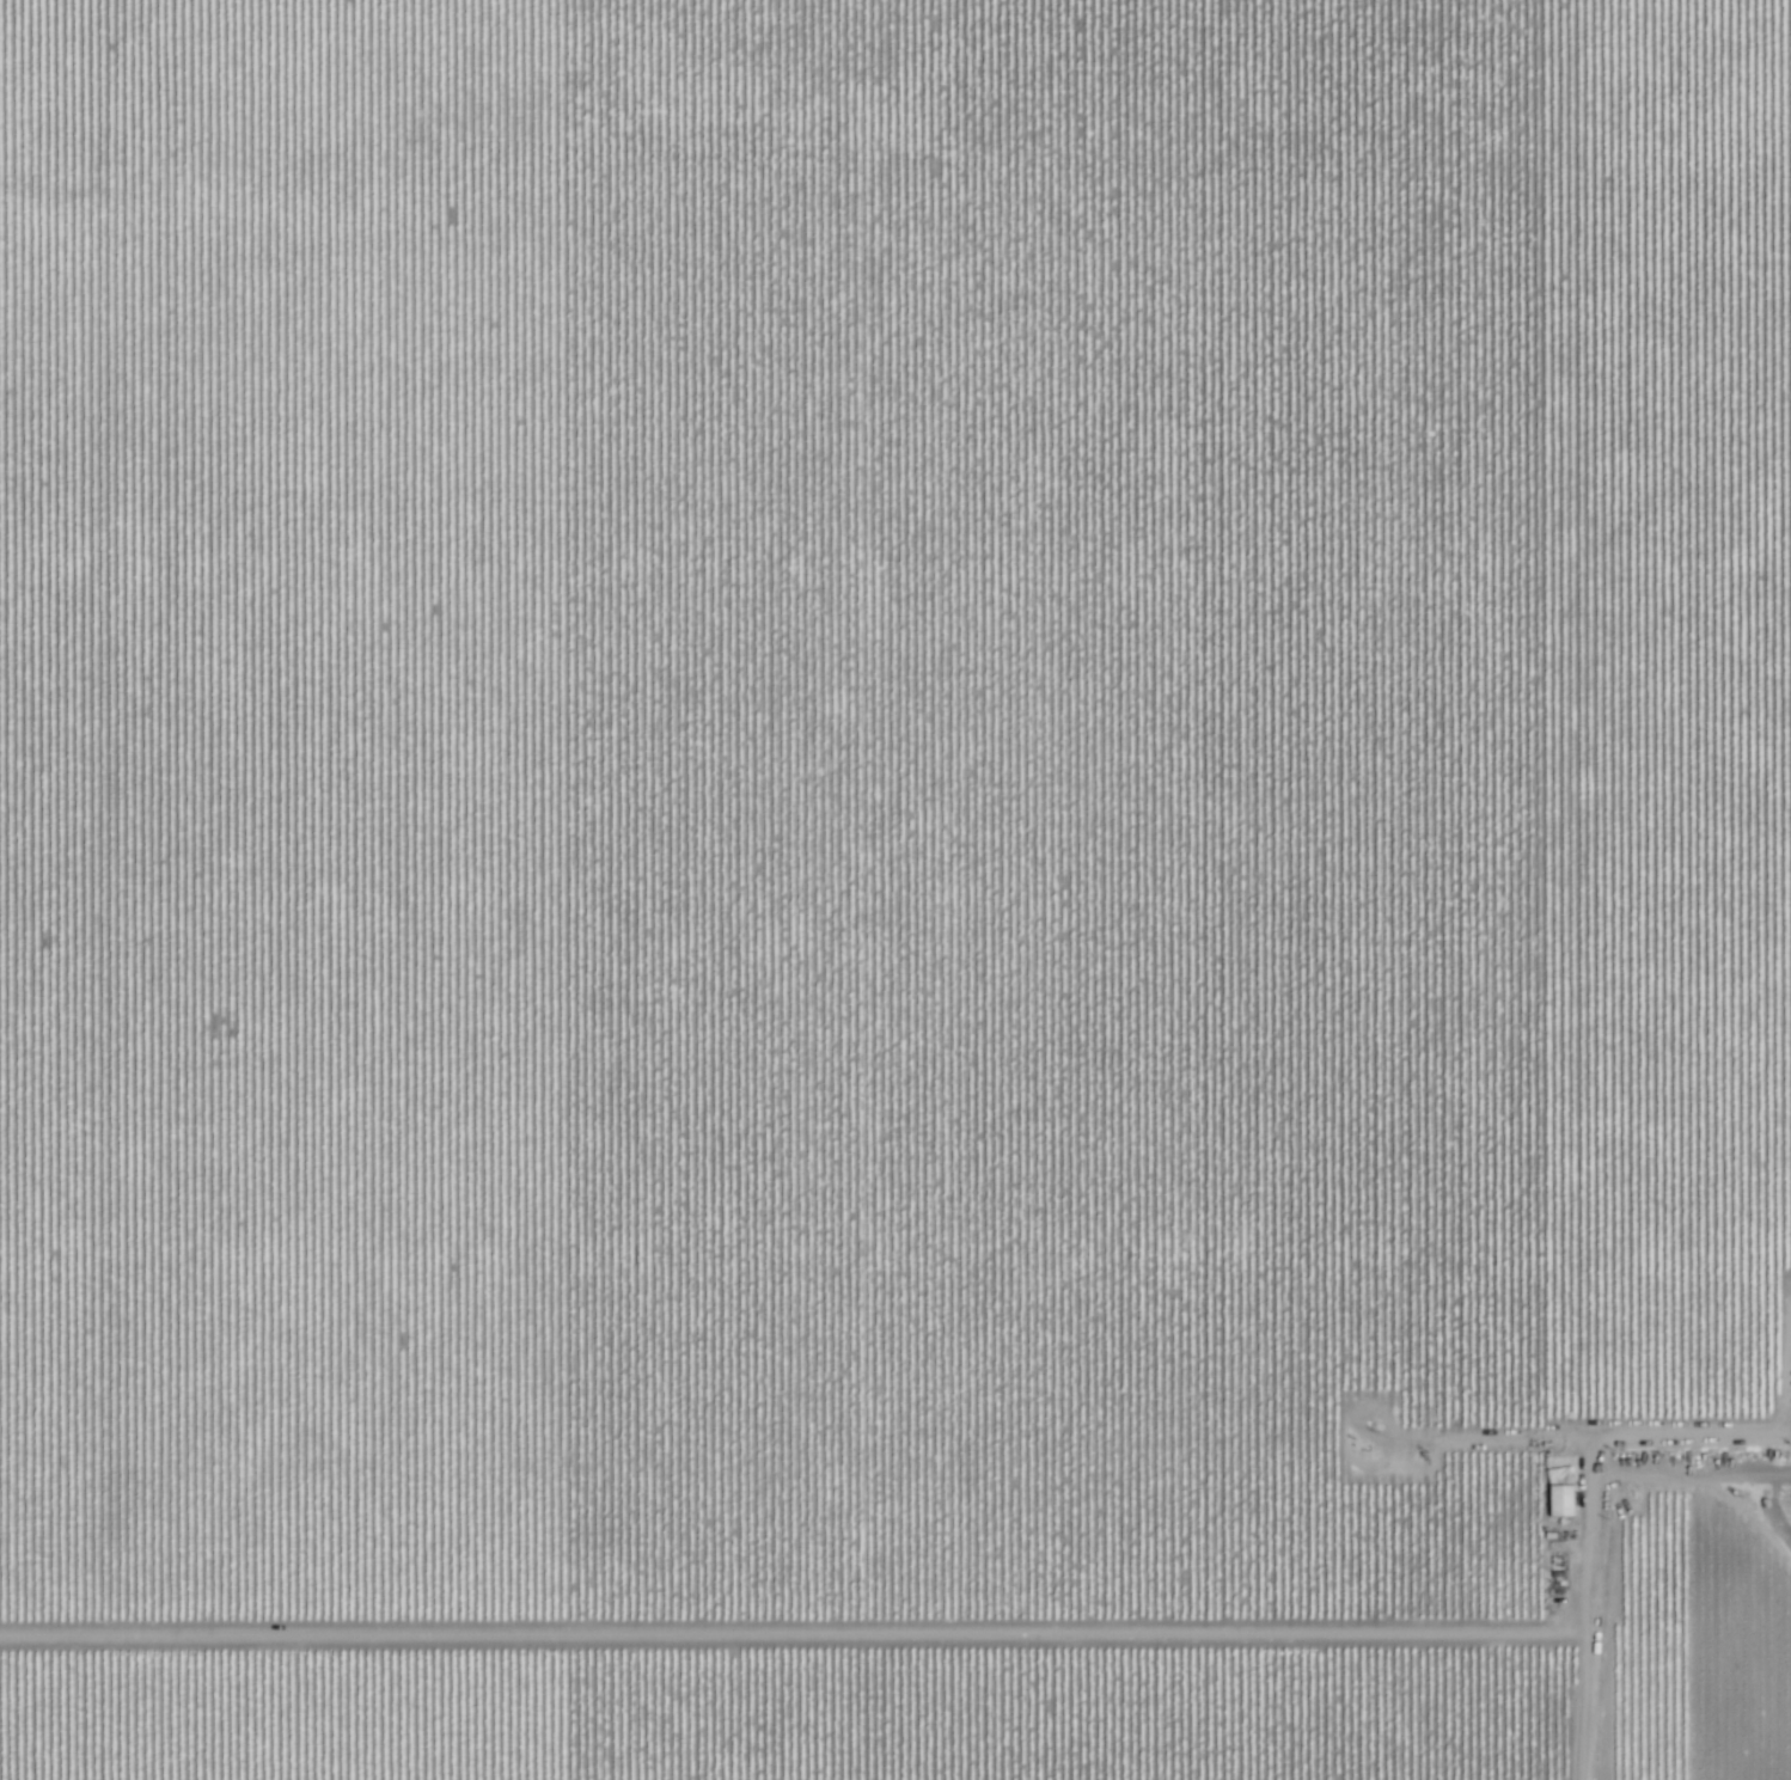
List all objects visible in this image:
building: (1564, 1500)

